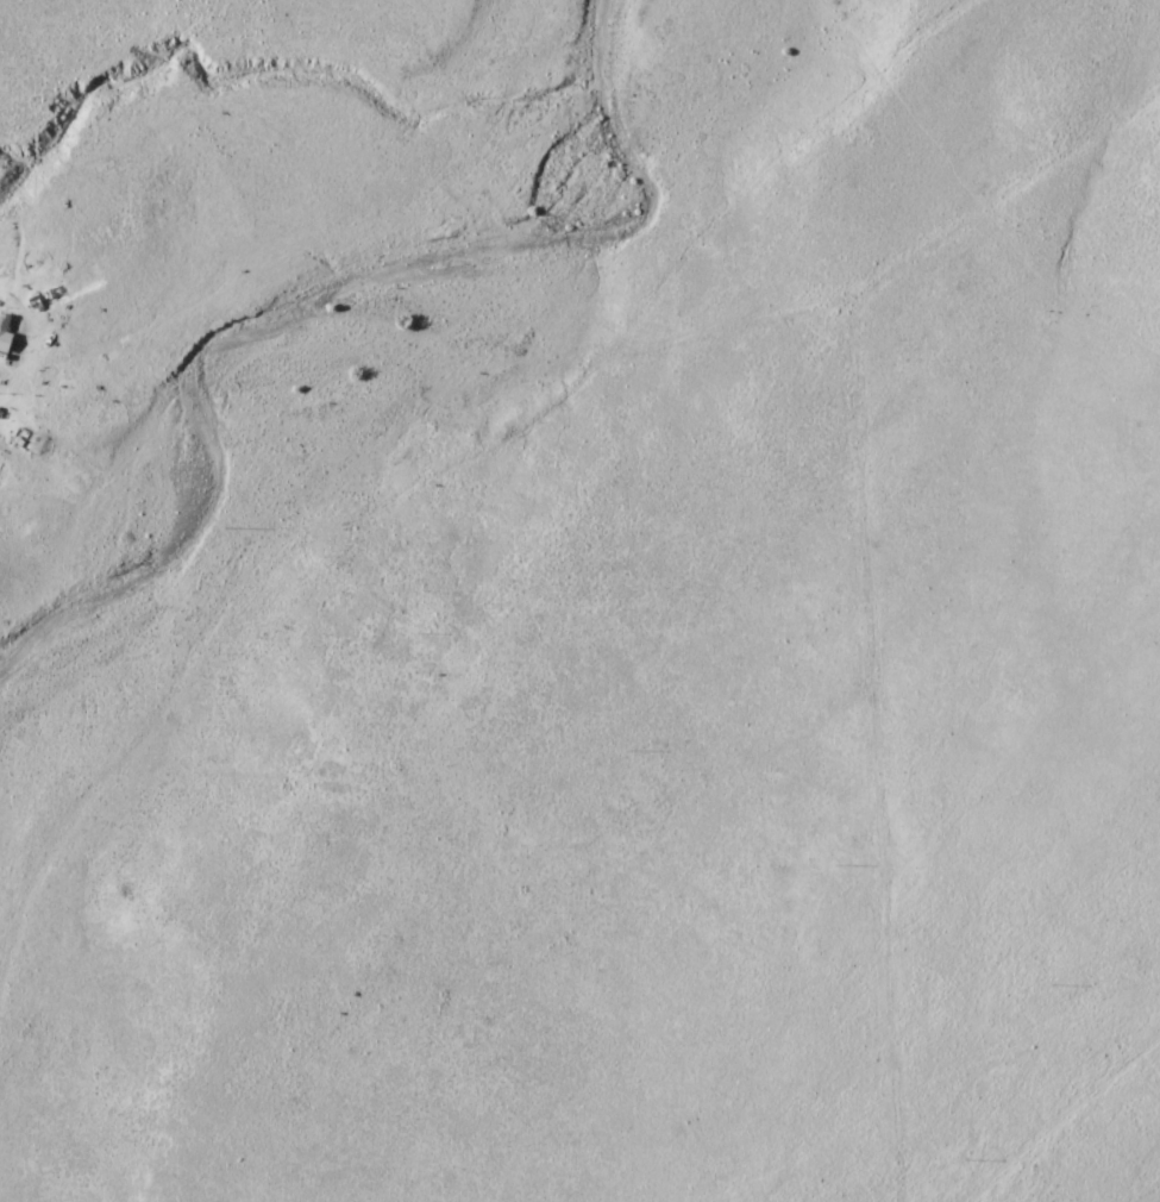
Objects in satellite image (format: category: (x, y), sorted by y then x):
river: (333, 303)
building: (4, 326)
road: (197, 403)
building: (27, 436)
road: (358, 502)

